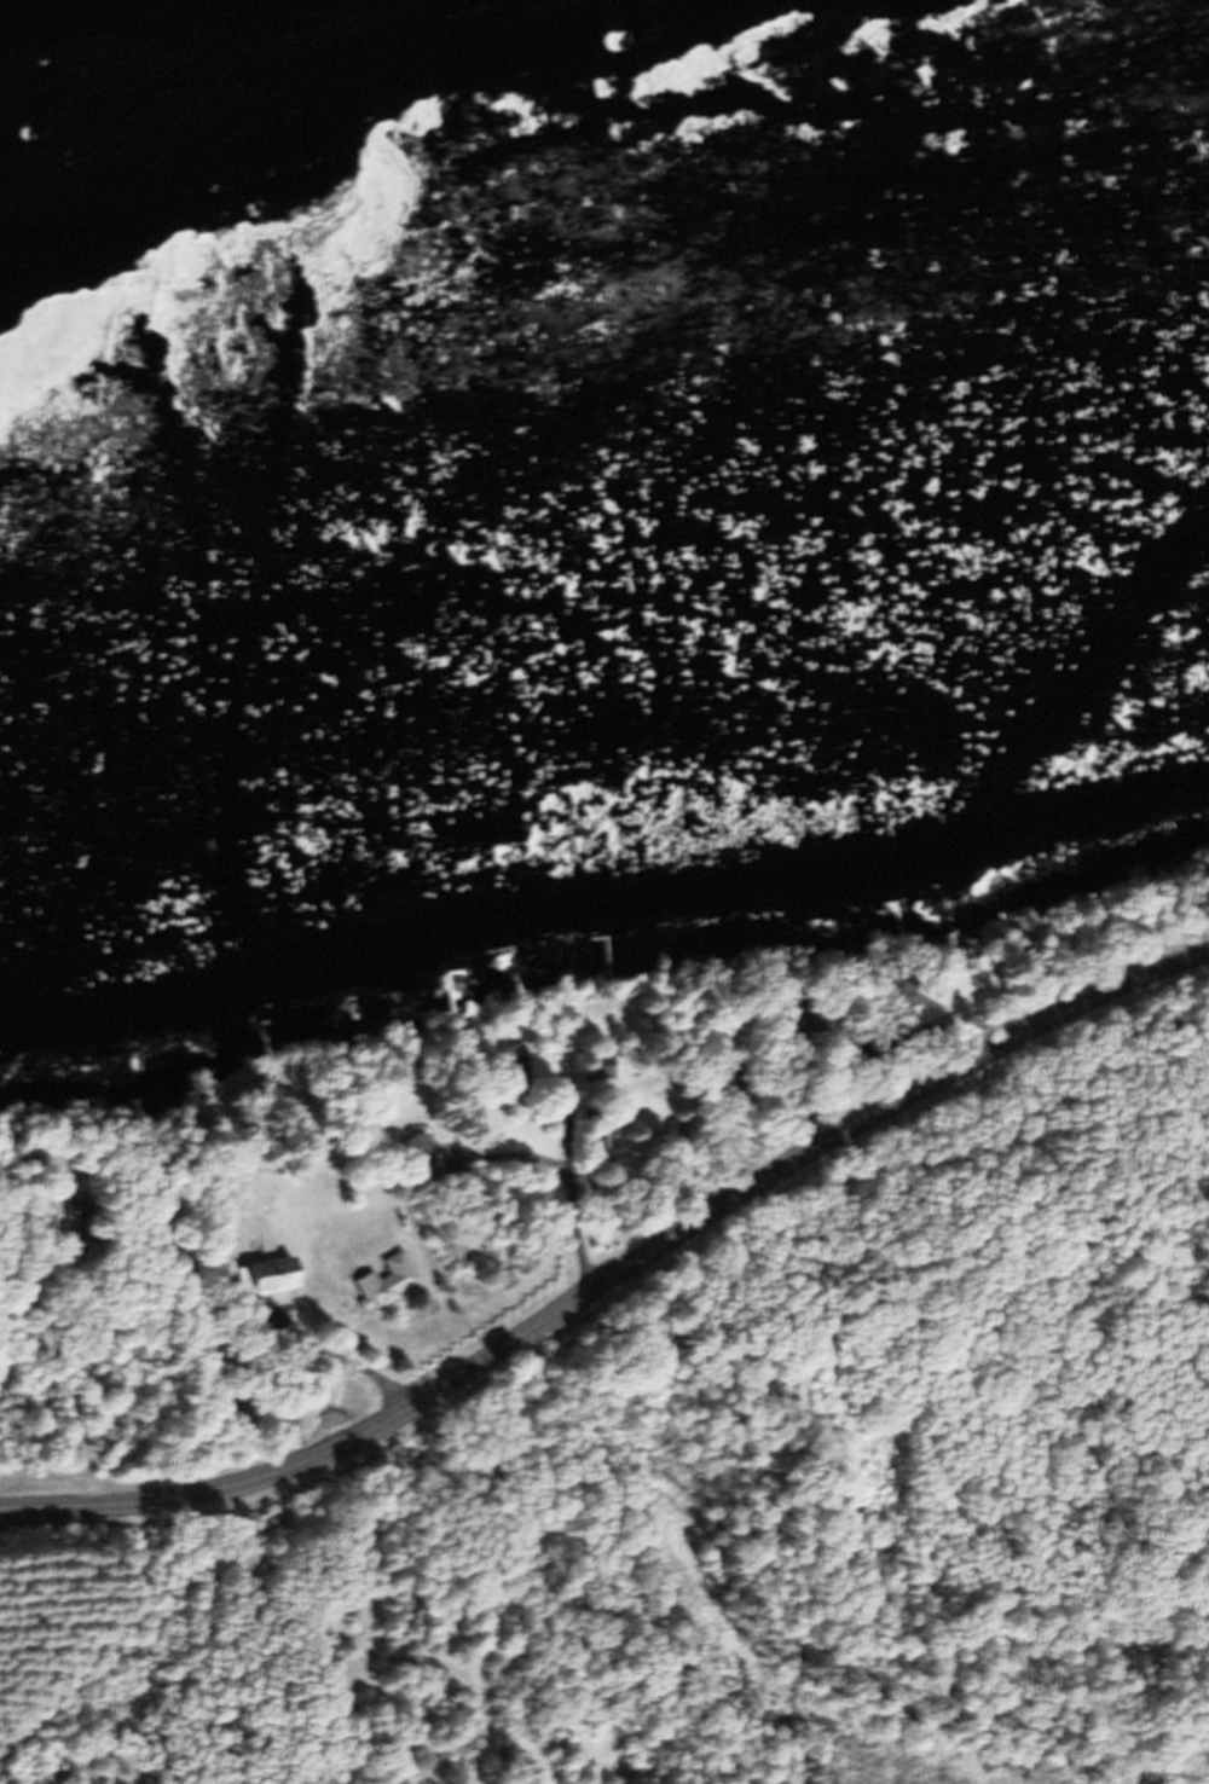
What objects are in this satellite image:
building: (516, 1072)
building: (420, 1166)
road: (614, 1269)
building: (261, 1284)
building: (382, 1288)

